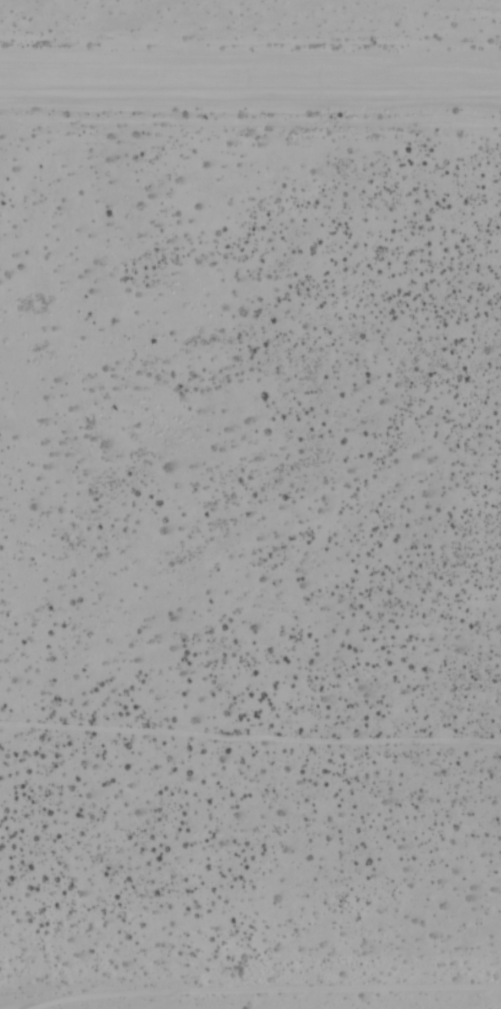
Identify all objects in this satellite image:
airport runway: (250, 78)

